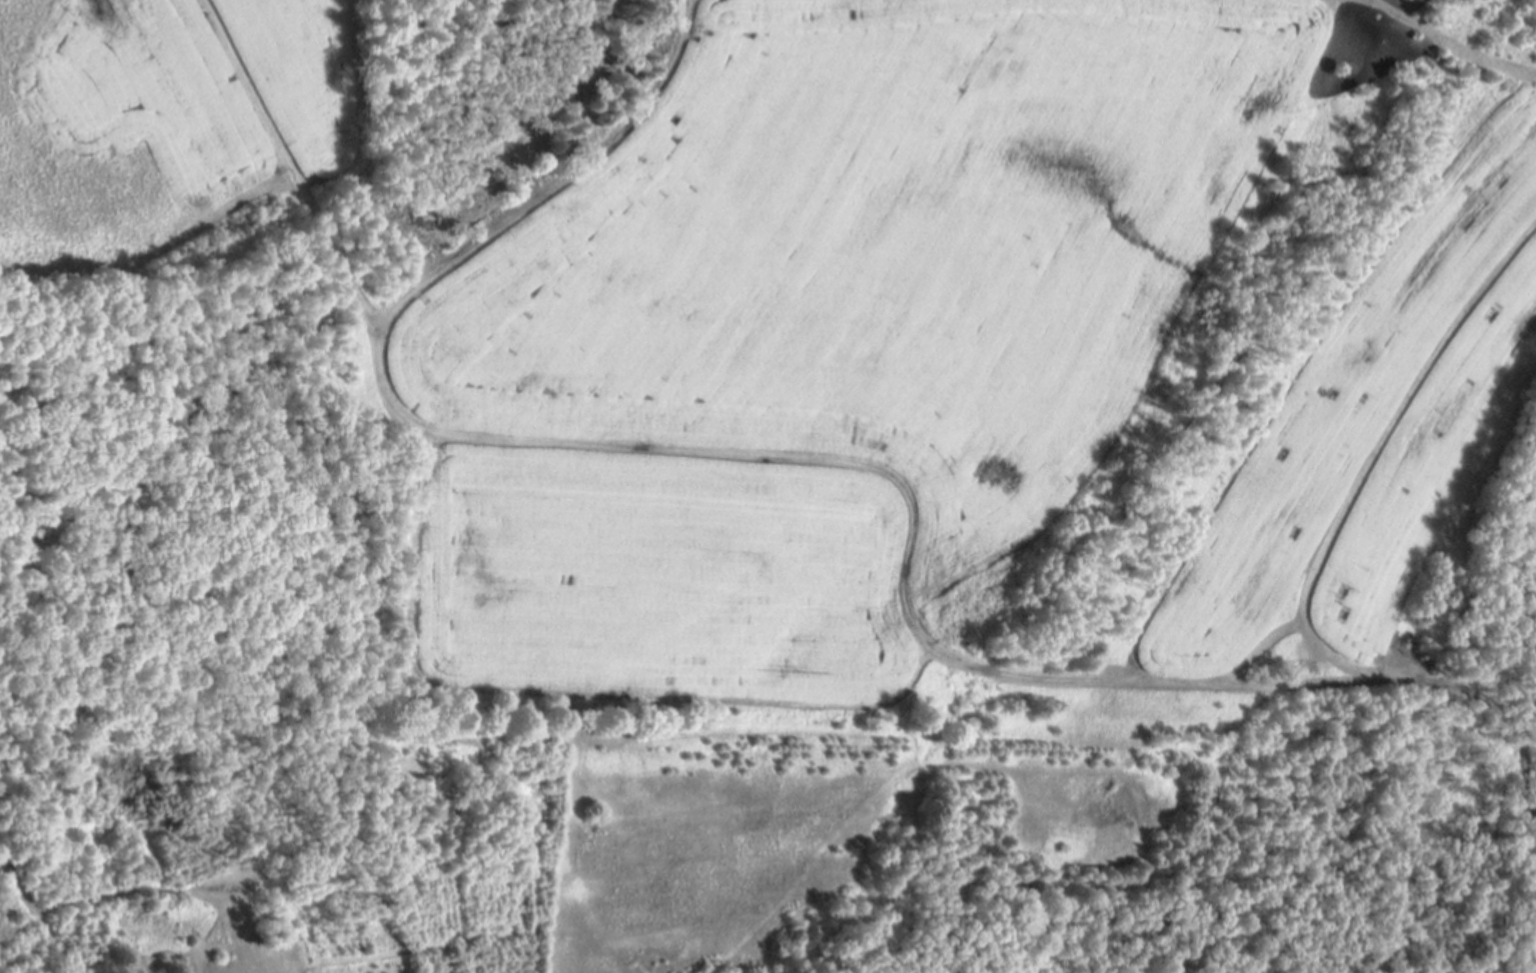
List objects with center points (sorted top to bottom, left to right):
road: (34, 915)

